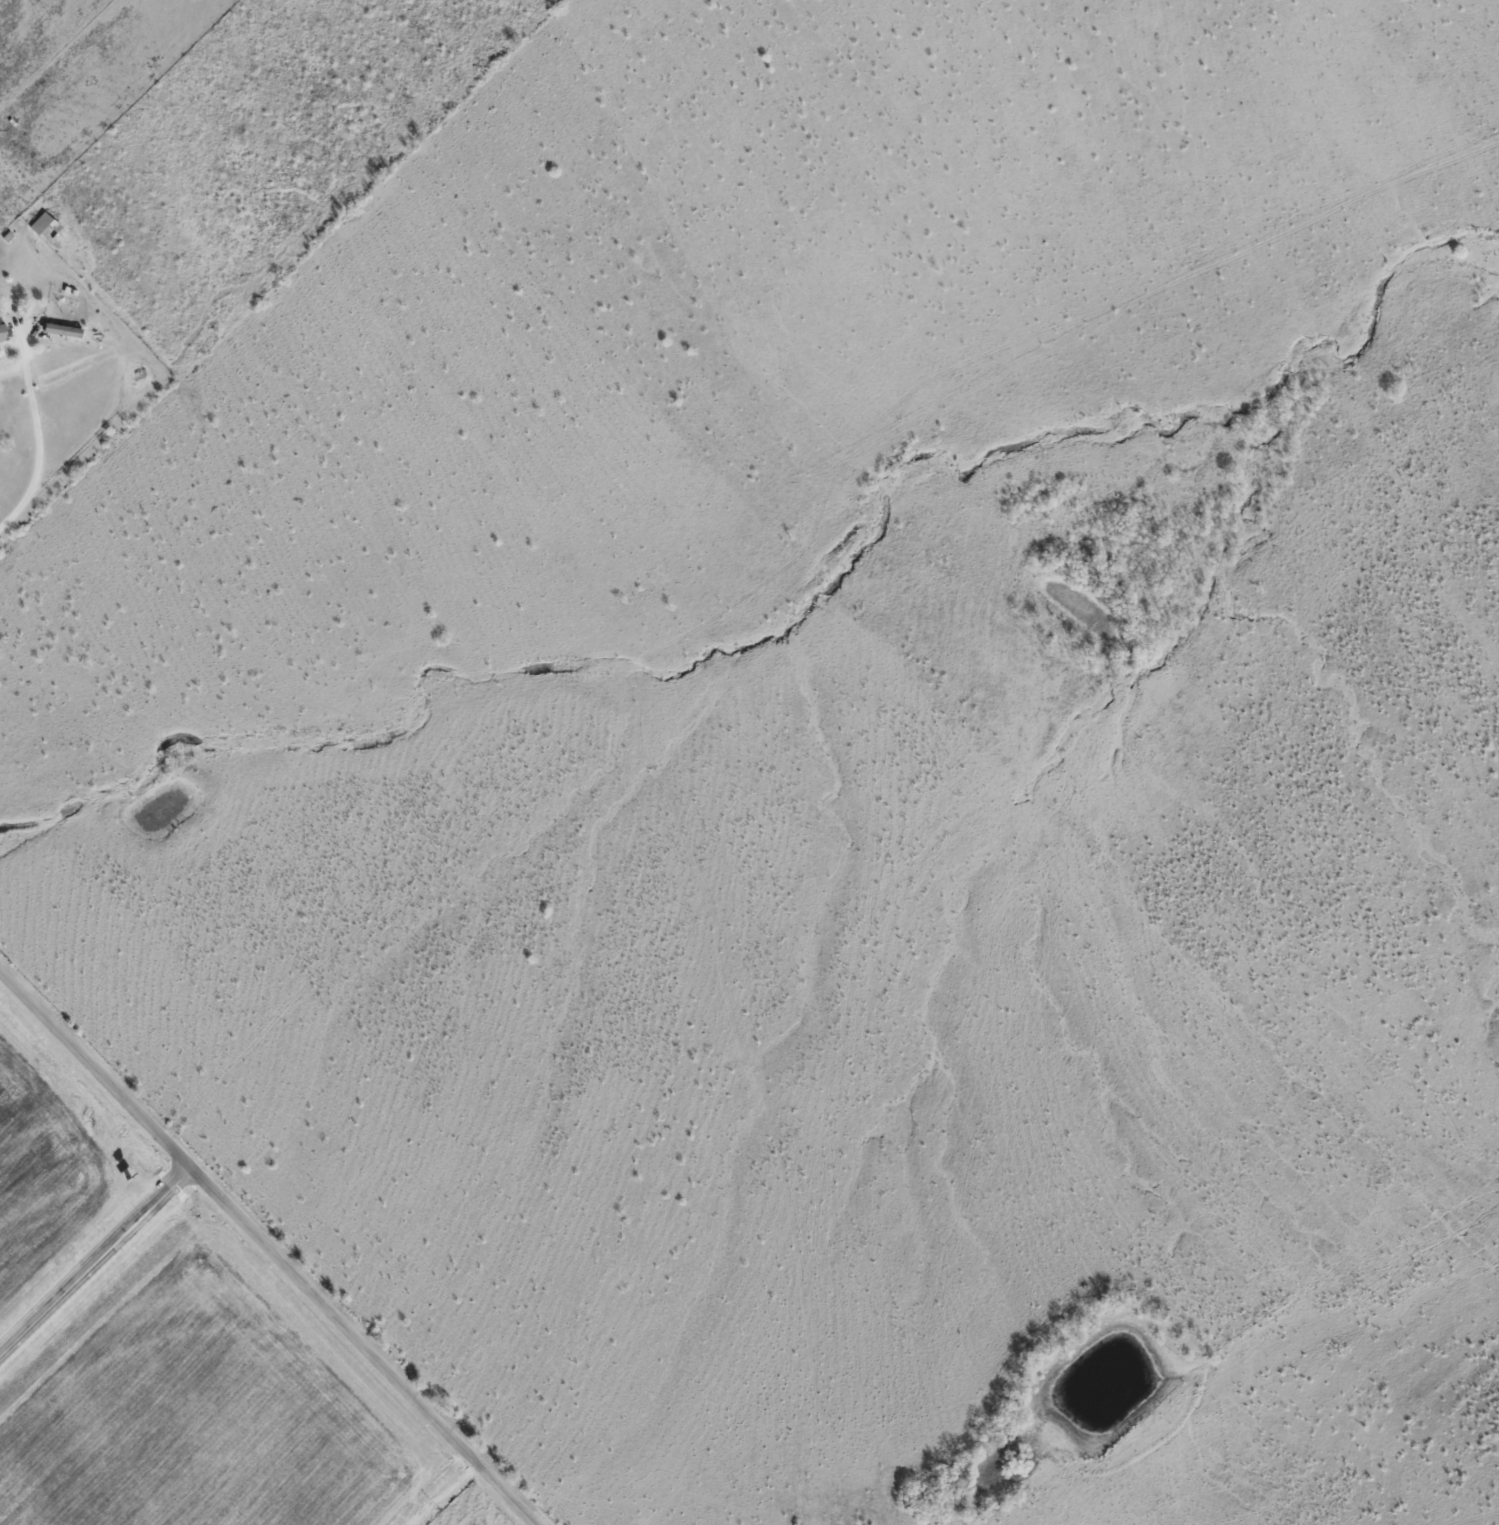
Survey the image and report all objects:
building: (38, 223)
building: (56, 329)
building: (2, 332)
road: (37, 446)
road: (261, 1256)
road: (91, 1262)

